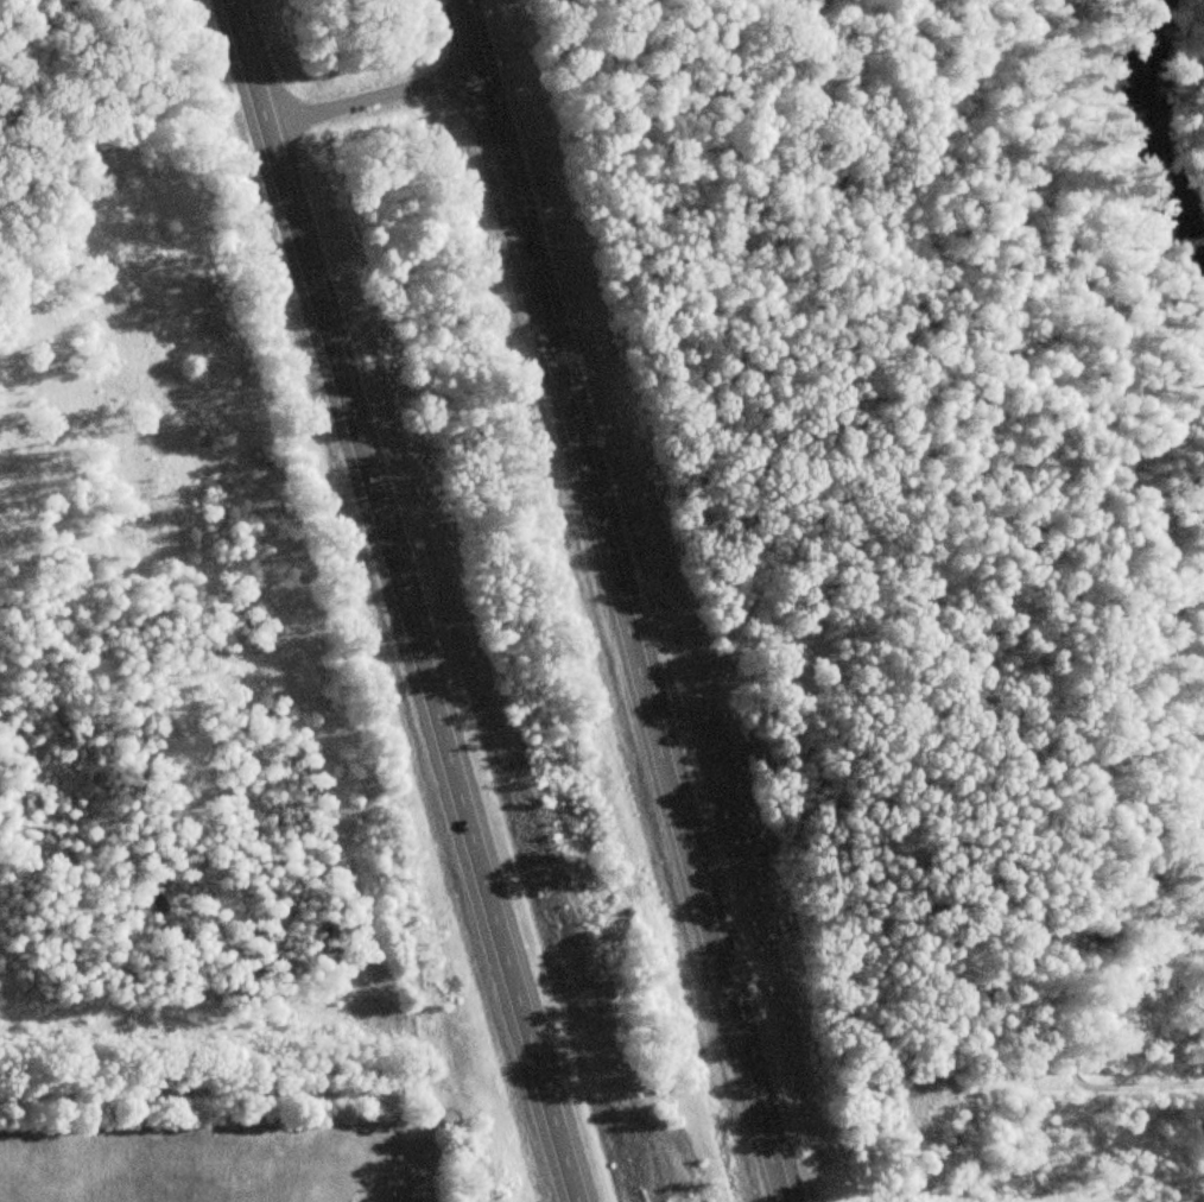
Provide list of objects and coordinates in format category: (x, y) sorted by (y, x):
road: (366, 105)
river: (1145, 131)
road: (617, 600)
road: (387, 601)
road: (185, 1058)

